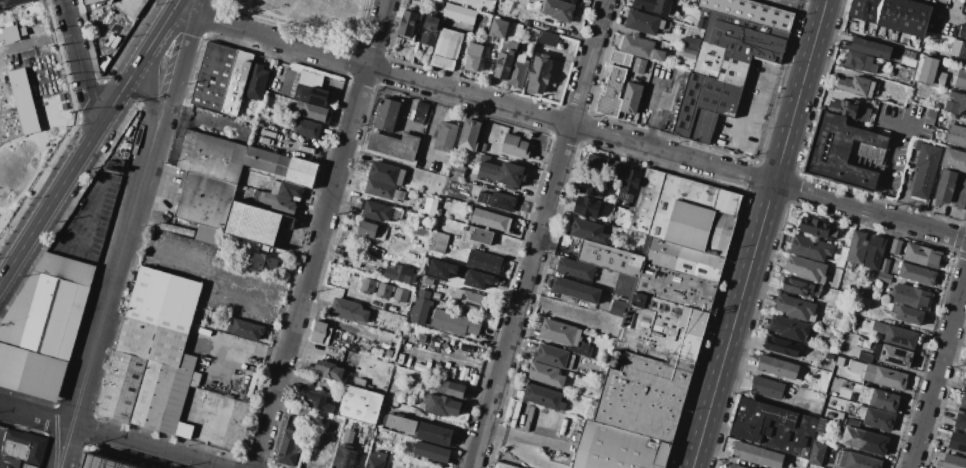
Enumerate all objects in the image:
building: (570, 1)
building: (11, 2)
building: (90, 2)
building: (130, 6)
building: (653, 6)
building: (558, 9)
park: (307, 12)
building: (751, 12)
park: (317, 14)
building: (459, 14)
building: (893, 14)
building: (965, 15)
road: (952, 17)
road: (163, 23)
building: (408, 23)
building: (645, 23)
building: (701, 23)
building: (498, 28)
building: (430, 31)
building: (963, 32)
building: (8, 33)
building: (548, 38)
building: (691, 43)
building: (640, 47)
building: (871, 48)
building: (446, 49)
building: (959, 50)
road: (187, 52)
building: (689, 53)
building: (473, 57)
building: (621, 58)
building: (505, 60)
building: (860, 61)
road: (80, 64)
building: (639, 65)
building: (518, 71)
building: (723, 71)
building: (931, 73)
building: (539, 74)
building: (894, 78)
building: (222, 79)
building: (961, 79)
building: (310, 80)
building: (257, 82)
building: (287, 82)
building: (856, 86)
building: (612, 93)
building: (304, 94)
road: (763, 94)
building: (318, 96)
building: (956, 97)
building: (631, 98)
building: (22, 101)
crop: (28, 102)
road: (151, 105)
building: (962, 105)
building: (951, 107)
building: (842, 108)
road: (656, 110)
building: (314, 112)
building: (420, 113)
building: (387, 115)
road: (67, 119)
road: (902, 123)
road: (435, 125)
road: (568, 125)
building: (307, 128)
road: (159, 133)
road: (57, 134)
building: (469, 135)
building: (956, 135)
building: (445, 136)
road: (21, 139)
building: (395, 145)
building: (916, 145)
building: (515, 146)
road: (310, 148)
building: (846, 153)
building: (211, 156)
building: (484, 158)
building: (954, 159)
building: (267, 161)
road: (74, 164)
building: (606, 165)
road: (886, 167)
building: (457, 170)
building: (926, 171)
building: (301, 172)
building: (386, 173)
building: (503, 174)
road: (32, 179)
building: (482, 184)
building: (632, 184)
building: (596, 185)
building: (945, 187)
road: (43, 188)
building: (287, 190)
building: (384, 190)
building: (960, 194)
building: (204, 199)
building: (498, 201)
building: (280, 204)
building: (590, 206)
building: (429, 207)
road: (70, 211)
building: (380, 212)
building: (686, 212)
road: (1, 217)
road: (90, 220)
building: (491, 220)
building: (260, 226)
building: (422, 228)
building: (817, 228)
building: (593, 230)
building: (373, 231)
railway: (126, 233)
road: (319, 233)
road: (758, 233)
road: (539, 234)
building: (209, 235)
building: (481, 237)
road: (11, 240)
building: (438, 242)
building: (895, 247)
building: (810, 248)
building: (857, 248)
road: (165, 252)
building: (874, 253)
building: (922, 256)
building: (615, 257)
building: (685, 258)
building: (265, 262)
building: (484, 262)
building: (440, 268)
building: (806, 268)
building: (578, 269)
building: (884, 271)
building: (400, 274)
building: (917, 274)
building: (476, 279)
building: (428, 281)
building: (623, 285)
building: (368, 286)
building: (440, 286)
building: (677, 286)
building: (800, 287)
building: (383, 290)
building: (582, 290)
building: (866, 294)
building: (400, 295)
building: (910, 296)
building: (469, 299)
building: (420, 307)
building: (619, 308)
building: (795, 308)
building: (348, 310)
building: (907, 314)
road: (104, 315)
building: (841, 315)
building: (159, 317)
building: (455, 323)
building: (43, 325)
building: (877, 327)
building: (789, 328)
building: (245, 329)
building: (321, 332)
building: (564, 332)
building: (899, 337)
building: (844, 338)
building: (779, 346)
building: (555, 355)
building: (892, 355)
building: (865, 357)
building: (839, 362)
building: (651, 367)
building: (779, 367)
building: (857, 367)
building: (329, 370)
road: (938, 372)
building: (548, 374)
building: (885, 377)
building: (360, 382)
building: (965, 385)
building: (122, 386)
building: (452, 388)
building: (767, 388)
building: (546, 394)
building: (153, 395)
building: (879, 398)
building: (179, 399)
building: (963, 401)
building: (320, 402)
building: (361, 405)
building: (443, 405)
road: (2, 411)
building: (829, 415)
building: (876, 418)
building: (961, 422)
building: (401, 423)
building: (852, 423)
building: (349, 424)
building: (820, 425)
building: (773, 427)
building: (361, 430)
building: (434, 434)
building: (348, 436)
road: (108, 437)
building: (867, 441)
building: (958, 442)
building: (28, 444)
building: (617, 447)
building: (288, 448)
building: (432, 452)
building: (816, 454)
building: (757, 455)
building: (344, 457)
building: (376, 460)
building: (858, 461)
building: (11, 462)
building: (105, 462)
building: (953, 462)
building: (501, 465)
building: (29, 466)
building: (735, 466)

